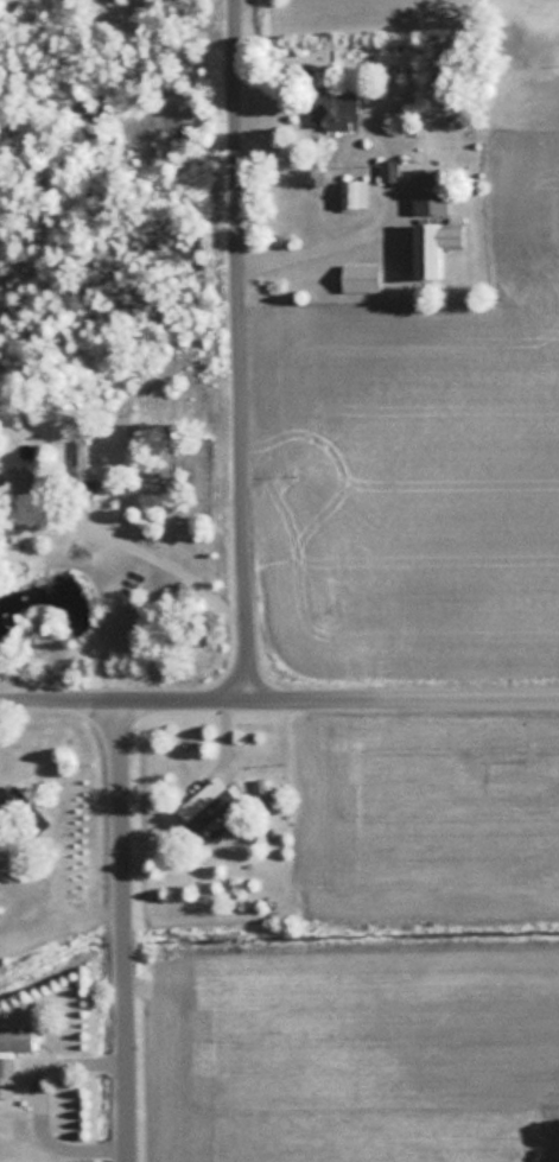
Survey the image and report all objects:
road: (120, 23)
building: (335, 110)
building: (389, 170)
building: (430, 192)
building: (355, 195)
building: (434, 248)
road: (244, 349)
building: (82, 457)
building: (19, 483)
road: (171, 552)
road: (279, 698)
building: (209, 804)
road: (123, 929)
building: (12, 1052)

